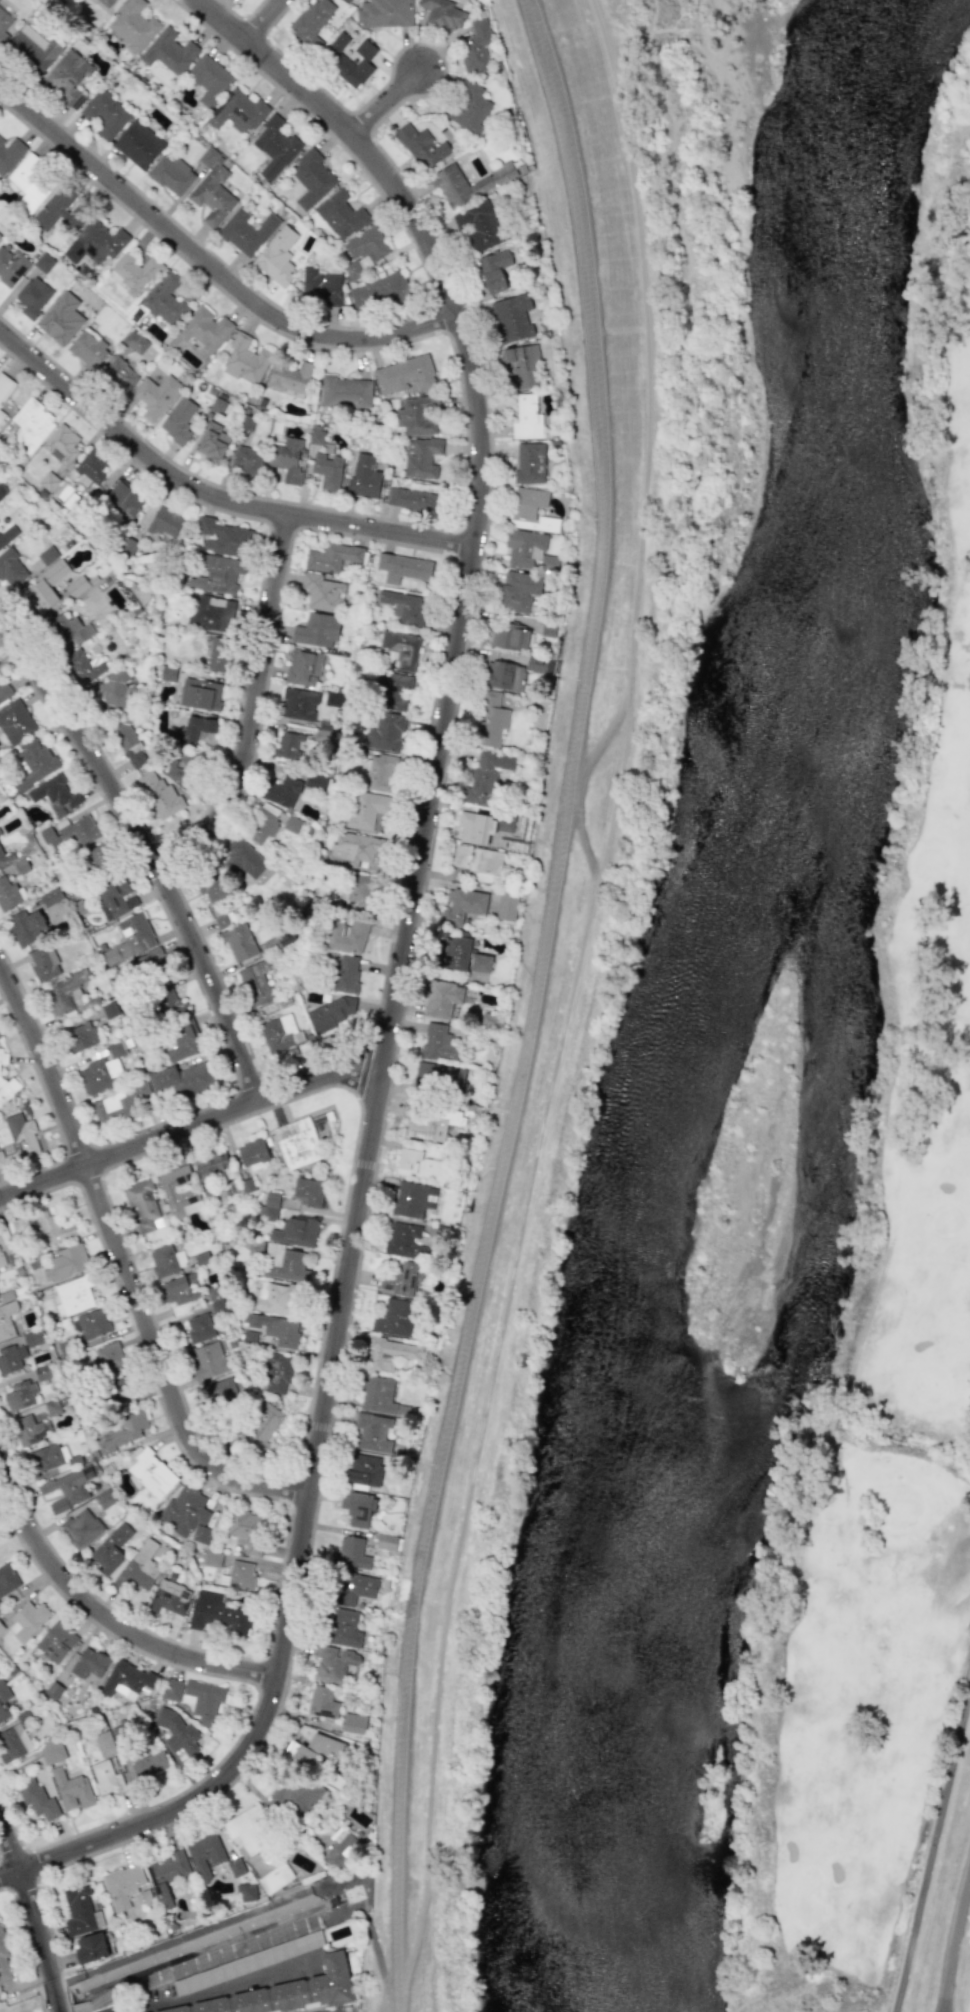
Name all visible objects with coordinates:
building: (91, 1)
building: (347, 1)
building: (106, 3)
building: (384, 12)
building: (443, 13)
road: (265, 21)
building: (311, 22)
building: (133, 24)
building: (3, 26)
building: (338, 43)
building: (475, 47)
building: (35, 48)
building: (169, 51)
building: (355, 64)
building: (67, 77)
building: (209, 79)
road: (386, 105)
building: (468, 107)
building: (241, 110)
building: (105, 114)
building: (138, 144)
building: (422, 146)
building: (275, 147)
building: (9, 153)
building: (172, 175)
building: (311, 178)
building: (29, 182)
building: (468, 183)
building: (212, 195)
building: (60, 209)
building: (340, 215)
building: (246, 231)
building: (0, 236)
building: (95, 242)
building: (364, 250)
building: (277, 256)
building: (44, 263)
building: (11, 266)
road: (209, 270)
building: (494, 270)
building: (133, 272)
building: (320, 287)
building: (378, 292)
building: (33, 296)
building: (165, 299)
building: (512, 317)
building: (57, 325)
building: (202, 330)
river: (842, 330)
building: (136, 342)
building: (87, 349)
building: (245, 360)
building: (523, 367)
building: (119, 373)
building: (404, 374)
building: (291, 379)
building: (5, 386)
building: (345, 392)
building: (155, 395)
building: (1, 415)
building: (416, 415)
building: (526, 418)
building: (178, 420)
building: (31, 425)
building: (61, 444)
building: (210, 444)
building: (421, 457)
building: (286, 459)
building: (246, 460)
building: (529, 463)
building: (90, 467)
building: (327, 470)
building: (364, 477)
building: (49, 482)
building: (124, 499)
road: (209, 499)
building: (414, 501)
building: (530, 510)
building: (165, 522)
road: (604, 528)
building: (7, 534)
building: (223, 537)
building: (524, 548)
building: (331, 557)
building: (403, 567)
building: (11, 568)
building: (217, 574)
building: (46, 585)
building: (77, 586)
building: (518, 589)
building: (322, 592)
building: (404, 607)
building: (210, 612)
building: (70, 630)
building: (316, 630)
building: (510, 635)
building: (400, 649)
building: (219, 654)
building: (540, 665)
building: (83, 666)
building: (303, 667)
building: (168, 674)
building: (504, 675)
building: (3, 687)
building: (115, 691)
building: (394, 691)
building: (200, 694)
building: (298, 704)
road: (255, 714)
building: (490, 719)
building: (15, 722)
building: (196, 727)
building: (387, 731)
road: (605, 738)
building: (129, 742)
building: (288, 745)
building: (33, 762)
building: (182, 770)
building: (380, 771)
building: (487, 774)
building: (317, 782)
building: (282, 792)
building: (55, 794)
building: (160, 795)
building: (366, 809)
building: (263, 822)
building: (506, 822)
building: (475, 828)
building: (0, 833)
building: (70, 833)
building: (354, 847)
road: (583, 847)
building: (4, 855)
road: (147, 855)
building: (101, 857)
building: (244, 859)
building: (479, 863)
building: (212, 889)
building: (361, 890)
building: (9, 893)
building: (51, 897)
building: (116, 899)
building: (507, 905)
building: (463, 906)
building: (224, 920)
building: (26, 927)
building: (347, 936)
building: (130, 938)
building: (239, 942)
building: (456, 953)
building: (44, 963)
building: (480, 963)
building: (147, 966)
road: (395, 969)
building: (346, 973)
building: (257, 984)
building: (65, 992)
road: (571, 997)
building: (442, 998)
building: (169, 1003)
building: (110, 1010)
building: (331, 1013)
building: (491, 1021)
building: (280, 1035)
building: (80, 1037)
building: (0, 1038)
building: (181, 1042)
building: (439, 1043)
building: (3, 1057)
building: (99, 1075)
building: (424, 1076)
building: (185, 1079)
road: (319, 1080)
building: (8, 1088)
building: (117, 1103)
building: (432, 1124)
building: (22, 1136)
building: (295, 1142)
road: (129, 1149)
building: (252, 1153)
building: (2, 1160)
building: (423, 1163)
building: (212, 1165)
building: (168, 1190)
building: (307, 1192)
building: (409, 1199)
building: (143, 1206)
building: (269, 1207)
building: (42, 1226)
building: (295, 1231)
building: (404, 1241)
building: (2, 1259)
building: (163, 1261)
building: (67, 1262)
building: (283, 1263)
road: (120, 1268)
building: (402, 1279)
building: (180, 1289)
building: (74, 1295)
building: (276, 1298)
building: (218, 1307)
building: (395, 1317)
building: (7, 1320)
building: (93, 1323)
building: (199, 1327)
building: (273, 1328)
building: (34, 1338)
river: (678, 1339)
park: (884, 1343)
building: (390, 1354)
building: (107, 1358)
building: (11, 1359)
building: (208, 1361)
building: (276, 1372)
building: (42, 1373)
building: (120, 1386)
building: (221, 1392)
building: (21, 1395)
building: (380, 1398)
building: (53, 1407)
building: (261, 1427)
building: (31, 1429)
building: (371, 1430)
building: (124, 1431)
building: (42, 1459)
building: (363, 1470)
building: (88, 1472)
building: (152, 1473)
building: (67, 1490)
building: (105, 1499)
building: (357, 1508)
building: (189, 1515)
building: (81, 1528)
building: (248, 1530)
road: (427, 1531)
building: (386, 1542)
building: (111, 1548)
building: (352, 1553)
building: (213, 1559)
building: (143, 1566)
building: (241, 1575)
building: (7, 1579)
building: (351, 1587)
building: (169, 1597)
building: (0, 1608)
building: (218, 1615)
road: (106, 1619)
building: (27, 1621)
building: (340, 1627)
building: (56, 1642)
building: (90, 1663)
building: (332, 1663)
building: (127, 1679)
building: (173, 1690)
building: (204, 1700)
building: (4, 1701)
building: (322, 1702)
building: (353, 1723)
building: (177, 1732)
building: (121, 1734)
building: (14, 1743)
building: (104, 1743)
building: (313, 1750)
building: (52, 1751)
building: (149, 1764)
building: (106, 1777)
building: (72, 1789)
building: (294, 1795)
building: (37, 1798)
building: (246, 1827)
building: (340, 1848)
road: (932, 1851)
building: (205, 1854)
building: (236, 1867)
building: (168, 1875)
building: (275, 1878)
building: (122, 1885)
building: (247, 1892)
building: (80, 1910)
road: (33, 1922)
road: (951, 1936)
road: (179, 1938)
building: (90, 1948)
road: (378, 1955)
building: (4, 1963)
road: (387, 1990)
road: (213, 1991)
building: (284, 1992)
road: (387, 1997)

